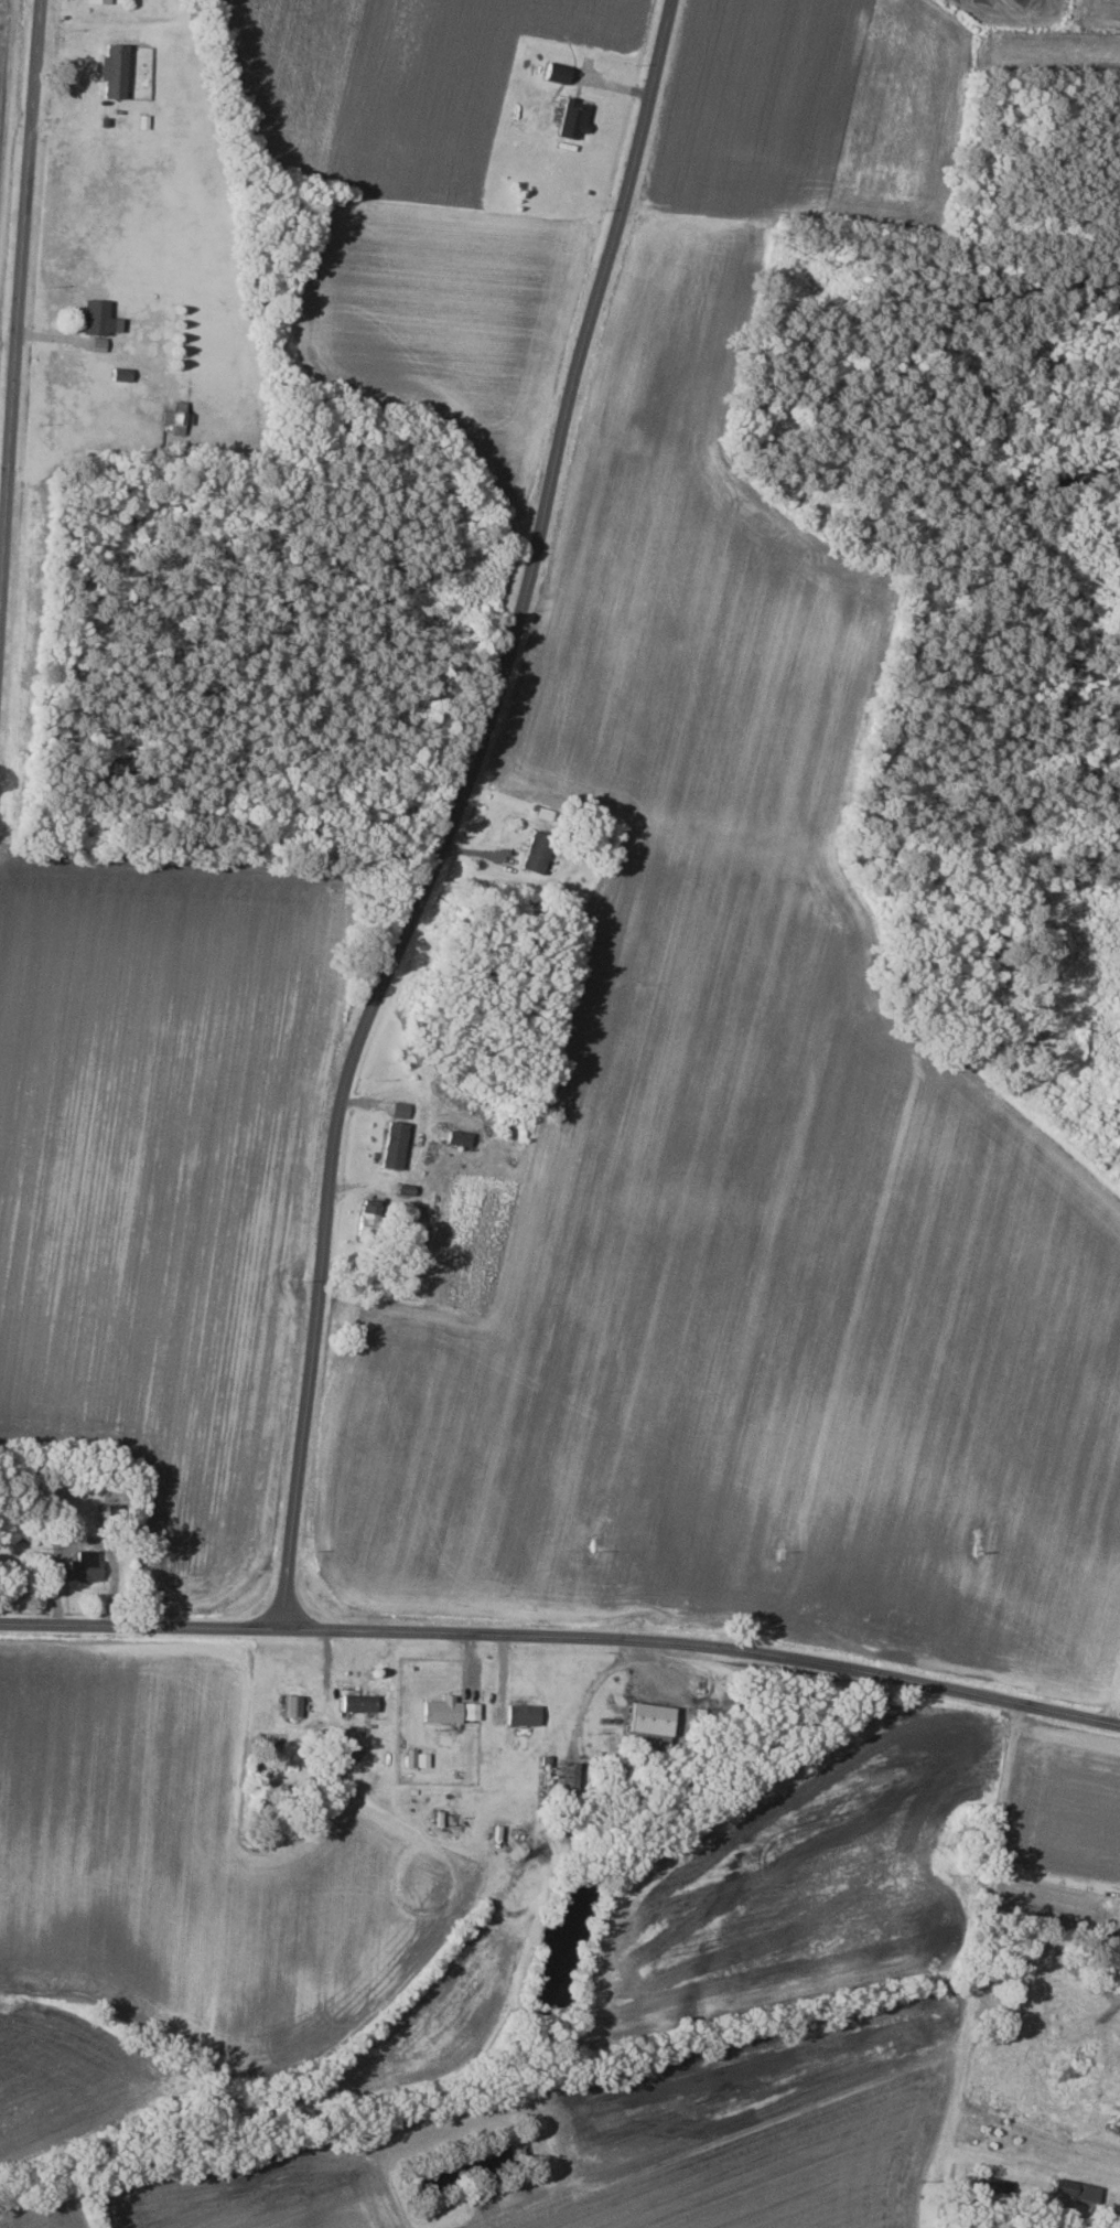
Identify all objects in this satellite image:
building: (96, 1)
building: (110, 71)
building: (554, 75)
building: (573, 119)
road: (15, 303)
building: (95, 318)
building: (172, 420)
road: (448, 810)
building: (536, 853)
building: (395, 1135)
building: (455, 1137)
building: (366, 1224)
building: (82, 1566)
road: (563, 1633)
building: (357, 1703)
building: (293, 1706)
building: (440, 1711)
building: (470, 1712)
building: (521, 1715)
building: (647, 1722)
building: (414, 1758)
road: (992, 1920)

